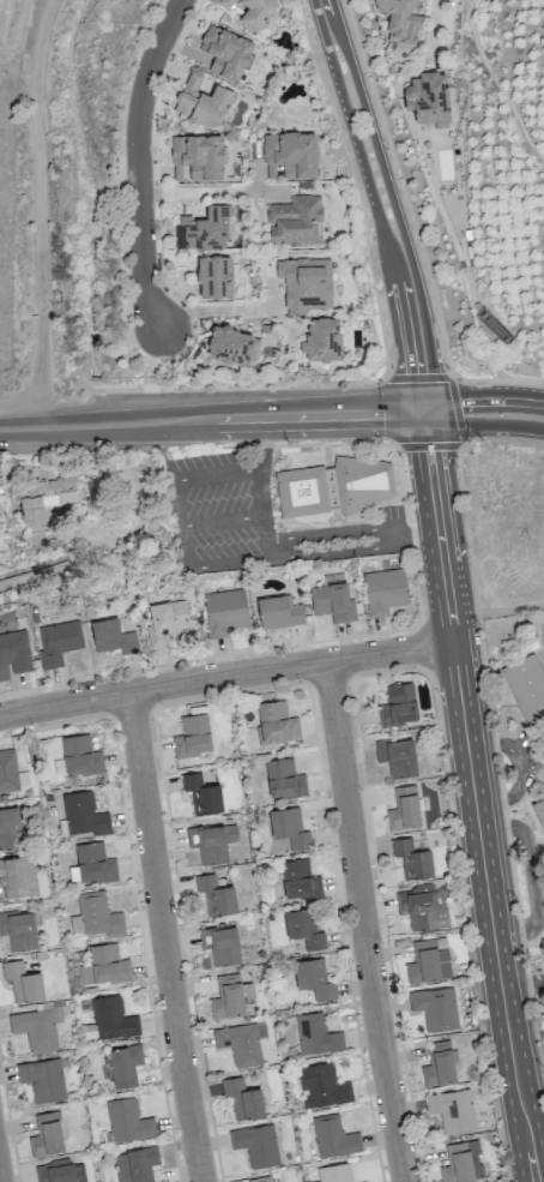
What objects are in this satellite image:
building: (226, 4)
building: (256, 12)
building: (400, 20)
road: (431, 34)
building: (225, 53)
building: (428, 98)
building: (201, 103)
building: (290, 155)
building: (198, 157)
road: (141, 160)
road: (212, 191)
road: (387, 203)
road: (43, 212)
building: (295, 221)
building: (204, 229)
building: (213, 277)
building: (306, 283)
road: (212, 310)
building: (322, 340)
building: (234, 346)
road: (483, 397)
traffic signals: (425, 412)
road: (265, 418)
road: (483, 424)
road: (53, 427)
road: (266, 444)
road: (198, 480)
building: (363, 482)
building: (302, 491)
road: (262, 494)
building: (41, 497)
road: (268, 529)
road: (333, 536)
road: (418, 539)
road: (188, 545)
road: (272, 551)
road: (336, 554)
building: (385, 590)
building: (332, 602)
road: (497, 611)
building: (224, 612)
building: (279, 612)
building: (167, 622)
building: (113, 637)
building: (58, 642)
building: (14, 652)
road: (226, 674)
building: (526, 689)
building: (398, 706)
road: (465, 715)
building: (276, 722)
building: (192, 736)
building: (80, 756)
building: (397, 756)
building: (543, 756)
road: (514, 767)
building: (8, 772)
building: (284, 779)
building: (201, 794)
building: (404, 809)
building: (539, 810)
building: (83, 814)
building: (10, 828)
building: (289, 828)
building: (212, 841)
building: (412, 859)
building: (93, 863)
road: (528, 874)
building: (17, 876)
building: (298, 880)
building: (214, 895)
building: (423, 906)
building: (95, 916)
road: (363, 922)
building: (303, 928)
building: (19, 930)
road: (162, 937)
building: (220, 944)
building: (428, 962)
building: (104, 965)
building: (313, 979)
building: (23, 982)
road: (525, 988)
building: (226, 997)
building: (435, 1008)
building: (111, 1018)
building: (37, 1027)
building: (316, 1034)
building: (241, 1043)
building: (439, 1064)
building: (125, 1066)
building: (42, 1079)
building: (321, 1086)
building: (242, 1098)
road: (521, 1100)
building: (452, 1110)
building: (127, 1121)
building: (46, 1134)
building: (333, 1136)
building: (256, 1145)
building: (461, 1163)
building: (135, 1164)
building: (60, 1171)
building: (334, 1172)
building: (260, 1178)

